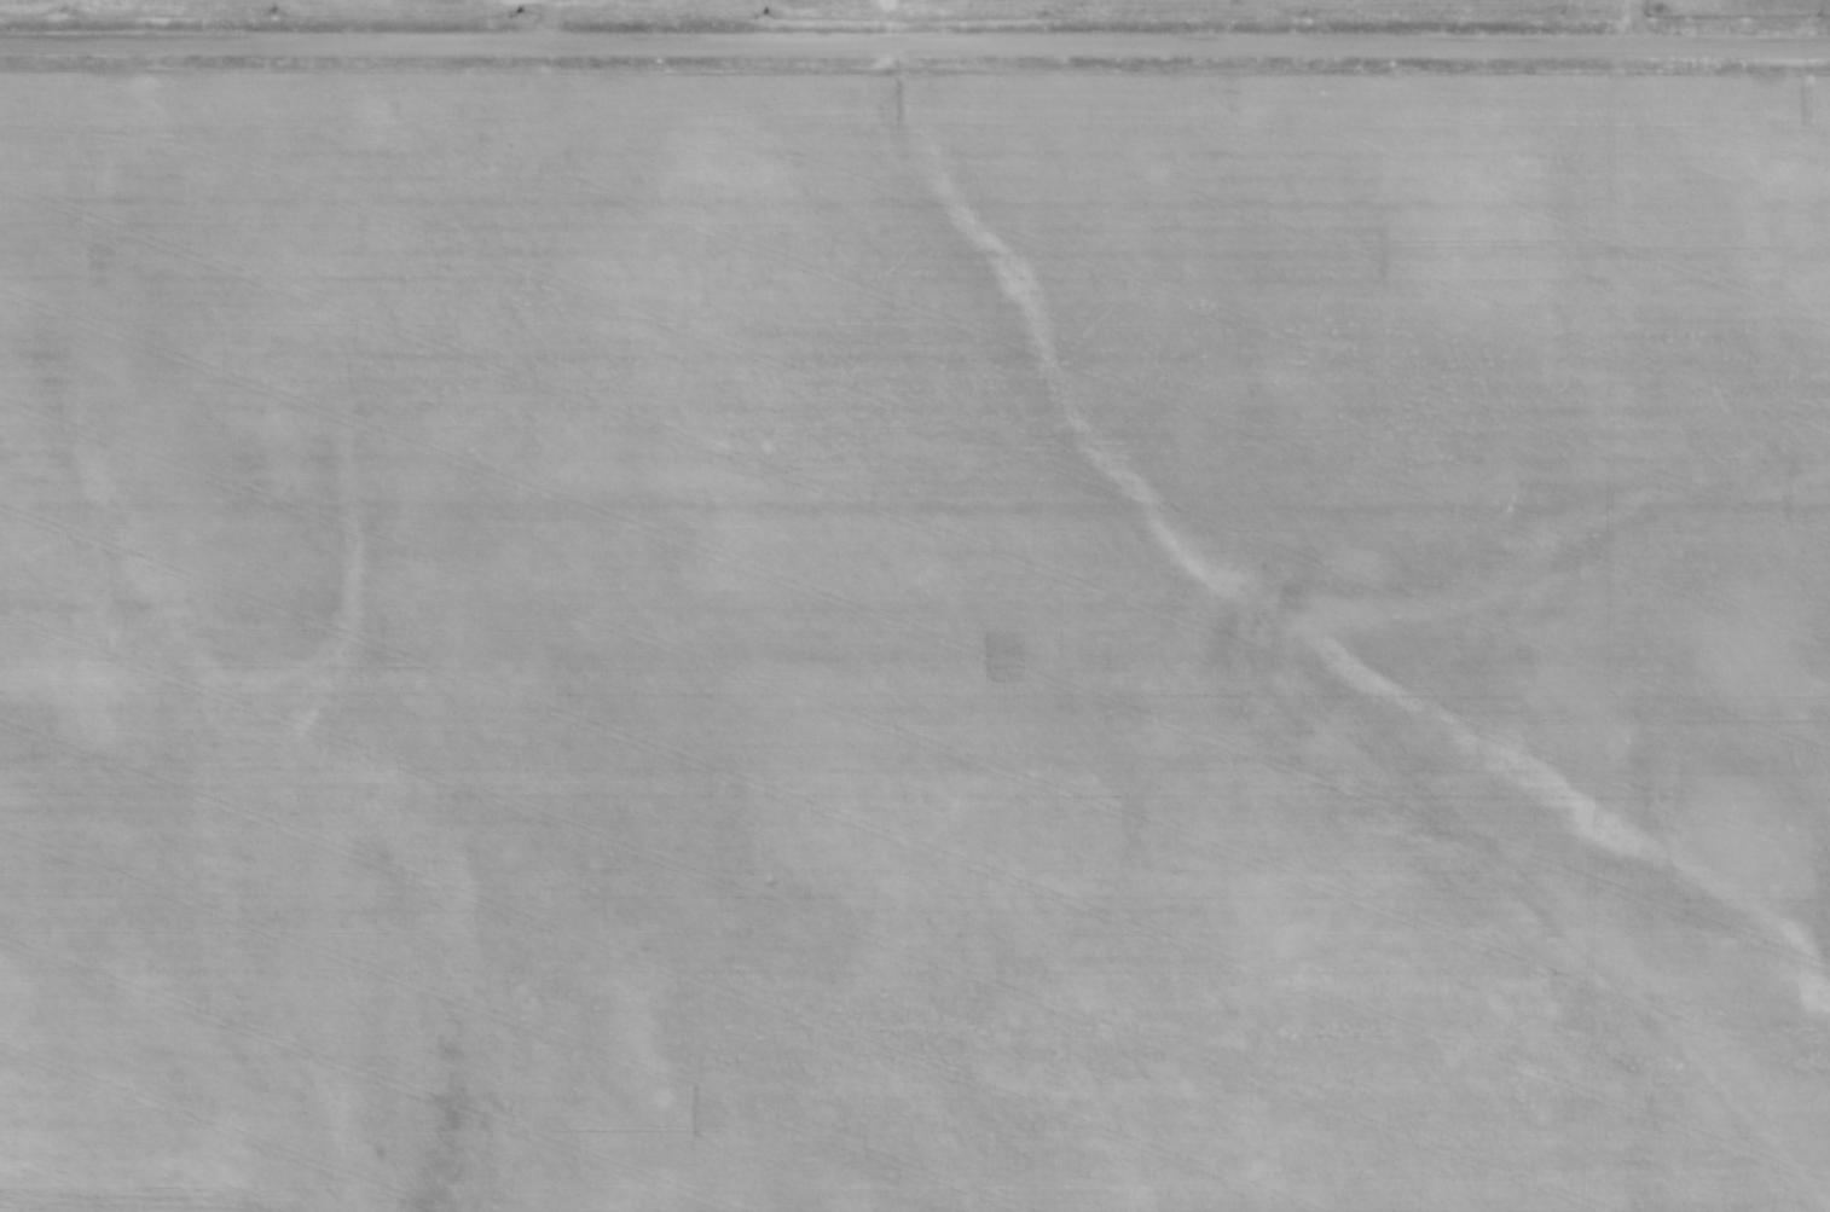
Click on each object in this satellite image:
road: (915, 52)

